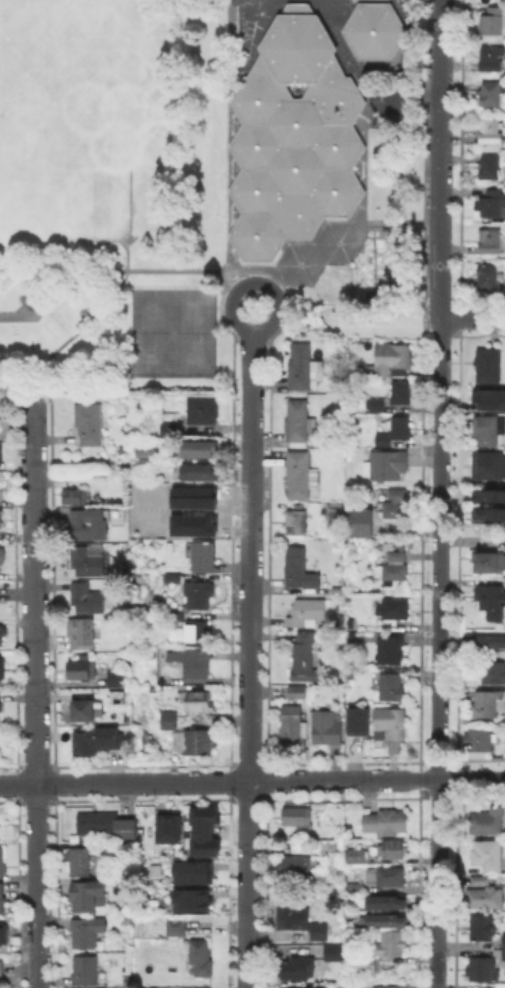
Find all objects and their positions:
building: (493, 20)
building: (376, 29)
park: (46, 39)
building: (492, 58)
building: (489, 92)
road: (409, 96)
building: (491, 130)
building: (295, 136)
road: (230, 137)
park: (22, 146)
park: (67, 152)
building: (491, 167)
park: (108, 198)
building: (491, 202)
building: (490, 240)
road: (122, 270)
building: (488, 276)
road: (256, 281)
road: (44, 306)
road: (472, 317)
road: (359, 321)
park: (151, 331)
park: (173, 331)
park: (190, 332)
road: (76, 333)
building: (394, 359)
building: (301, 365)
building: (489, 365)
building: (401, 391)
building: (487, 397)
building: (378, 404)
building: (202, 409)
building: (301, 422)
building: (90, 423)
building: (488, 428)
building: (171, 430)
building: (395, 430)
building: (148, 451)
building: (201, 451)
building: (488, 466)
building: (388, 467)
building: (201, 474)
building: (99, 475)
building: (301, 475)
building: (397, 493)
road: (440, 493)
building: (491, 495)
building: (75, 496)
building: (178, 498)
building: (0, 499)
building: (396, 509)
building: (336, 510)
building: (487, 515)
building: (144, 517)
building: (1, 519)
building: (298, 521)
building: (178, 524)
building: (90, 525)
building: (363, 525)
building: (388, 544)
building: (171, 546)
building: (204, 556)
building: (2, 558)
building: (87, 561)
building: (488, 561)
building: (396, 567)
building: (299, 568)
building: (173, 577)
building: (338, 589)
building: (200, 593)
building: (86, 598)
building: (491, 600)
building: (393, 608)
building: (307, 611)
building: (176, 616)
building: (83, 632)
building: (198, 632)
building: (2, 633)
building: (351, 634)
building: (492, 641)
building: (389, 648)
building: (304, 656)
road: (250, 658)
building: (191, 663)
building: (2, 668)
building: (82, 668)
building: (493, 672)
building: (118, 677)
building: (348, 678)
building: (388, 684)
building: (297, 690)
road: (35, 693)
building: (200, 702)
building: (485, 705)
building: (0, 707)
building: (84, 710)
building: (169, 719)
building: (389, 725)
building: (292, 726)
building: (326, 726)
building: (354, 727)
building: (479, 738)
building: (101, 741)
building: (196, 741)
road: (252, 780)
building: (297, 815)
building: (202, 817)
building: (104, 822)
building: (487, 822)
building: (383, 823)
building: (170, 826)
building: (202, 843)
building: (392, 850)
building: (487, 854)
building: (355, 856)
building: (1, 858)
building: (80, 860)
building: (295, 865)
building: (185, 875)
building: (386, 875)
building: (478, 880)
building: (354, 886)
building: (87, 893)
building: (2, 898)
building: (485, 898)
building: (185, 901)
building: (386, 902)
building: (300, 920)
building: (386, 920)
building: (175, 926)
building: (482, 928)
building: (86, 930)
building: (3, 932)
building: (504, 939)
building: (392, 943)
building: (333, 951)
building: (503, 953)
building: (199, 958)
building: (367, 965)
building: (298, 967)
building: (1, 968)
building: (85, 969)
building: (484, 970)
building: (501, 985)
building: (387, 986)
building: (302, 987)

